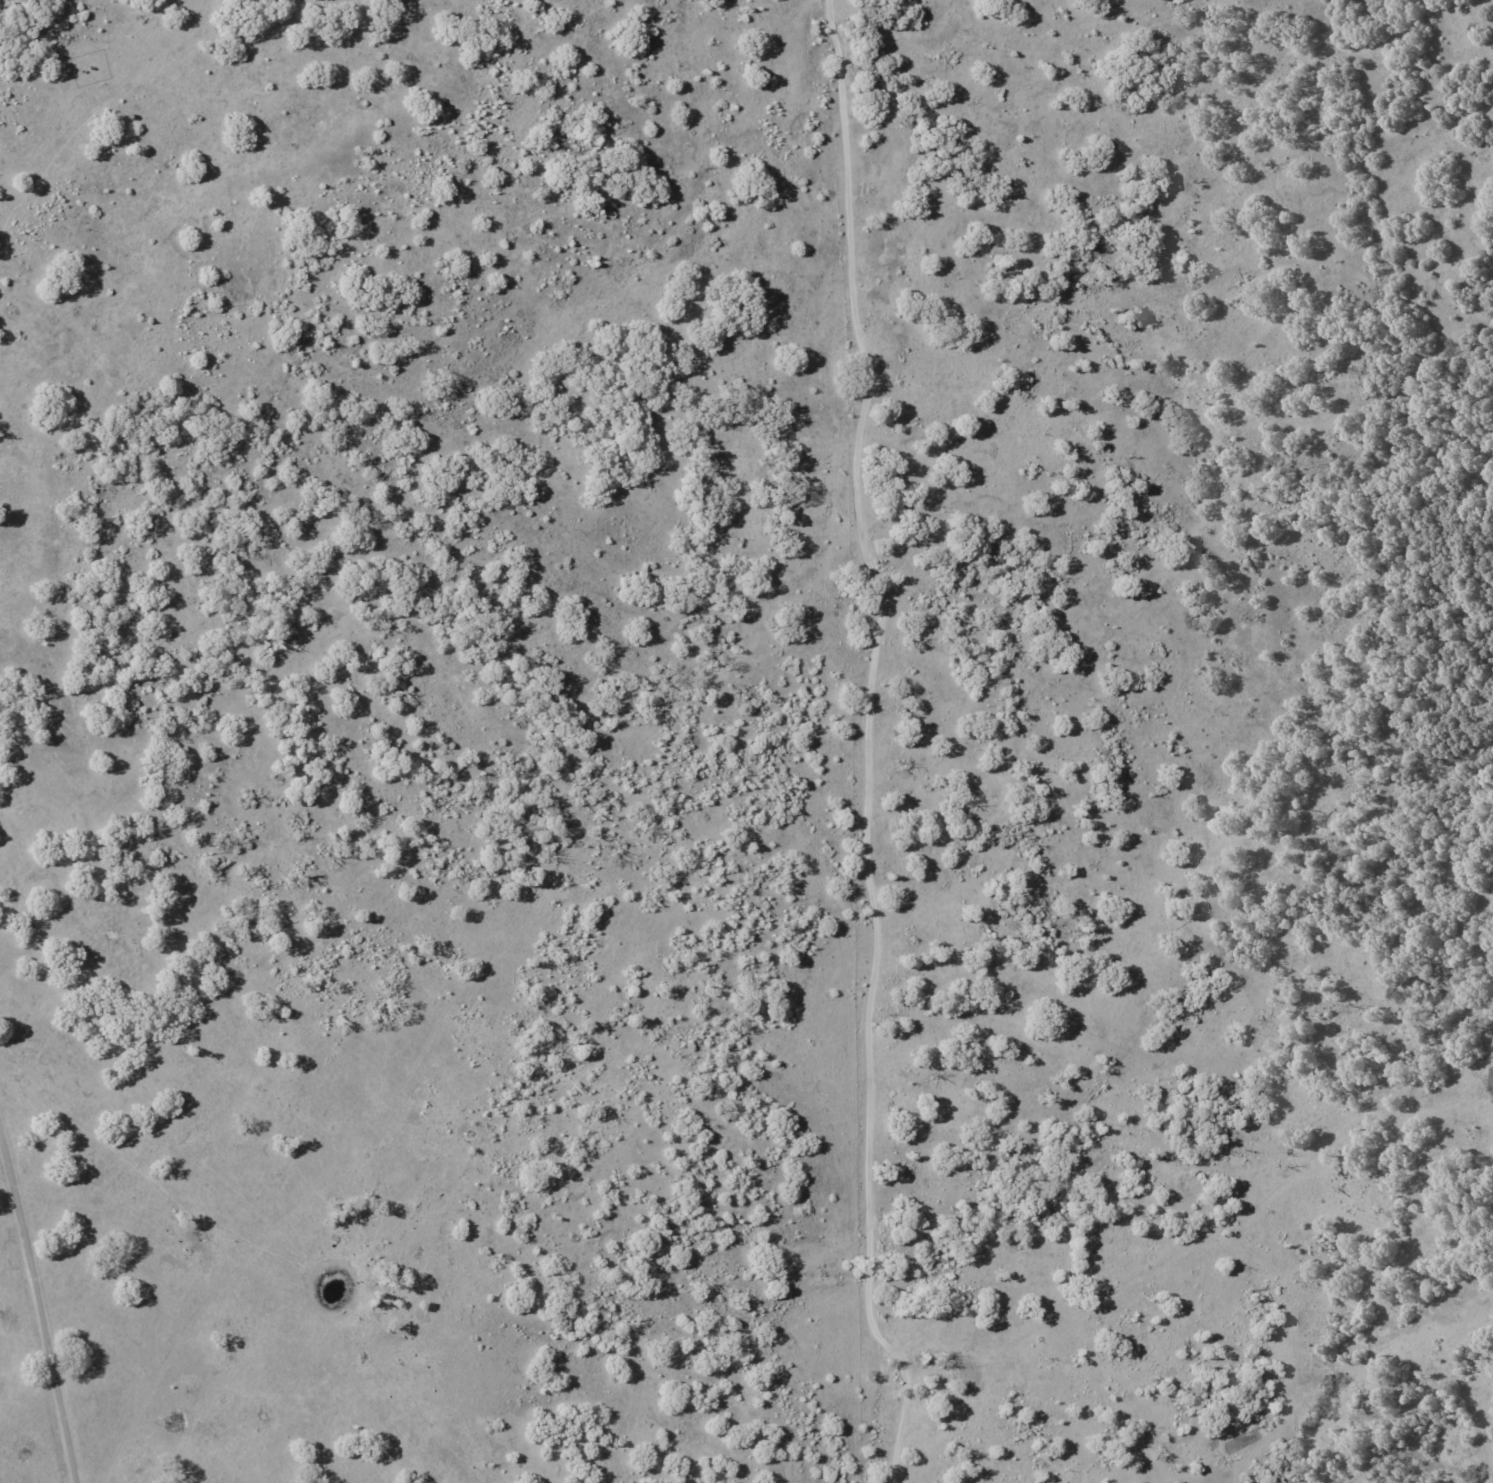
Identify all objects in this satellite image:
road: (867, 744)
road: (39, 1318)

